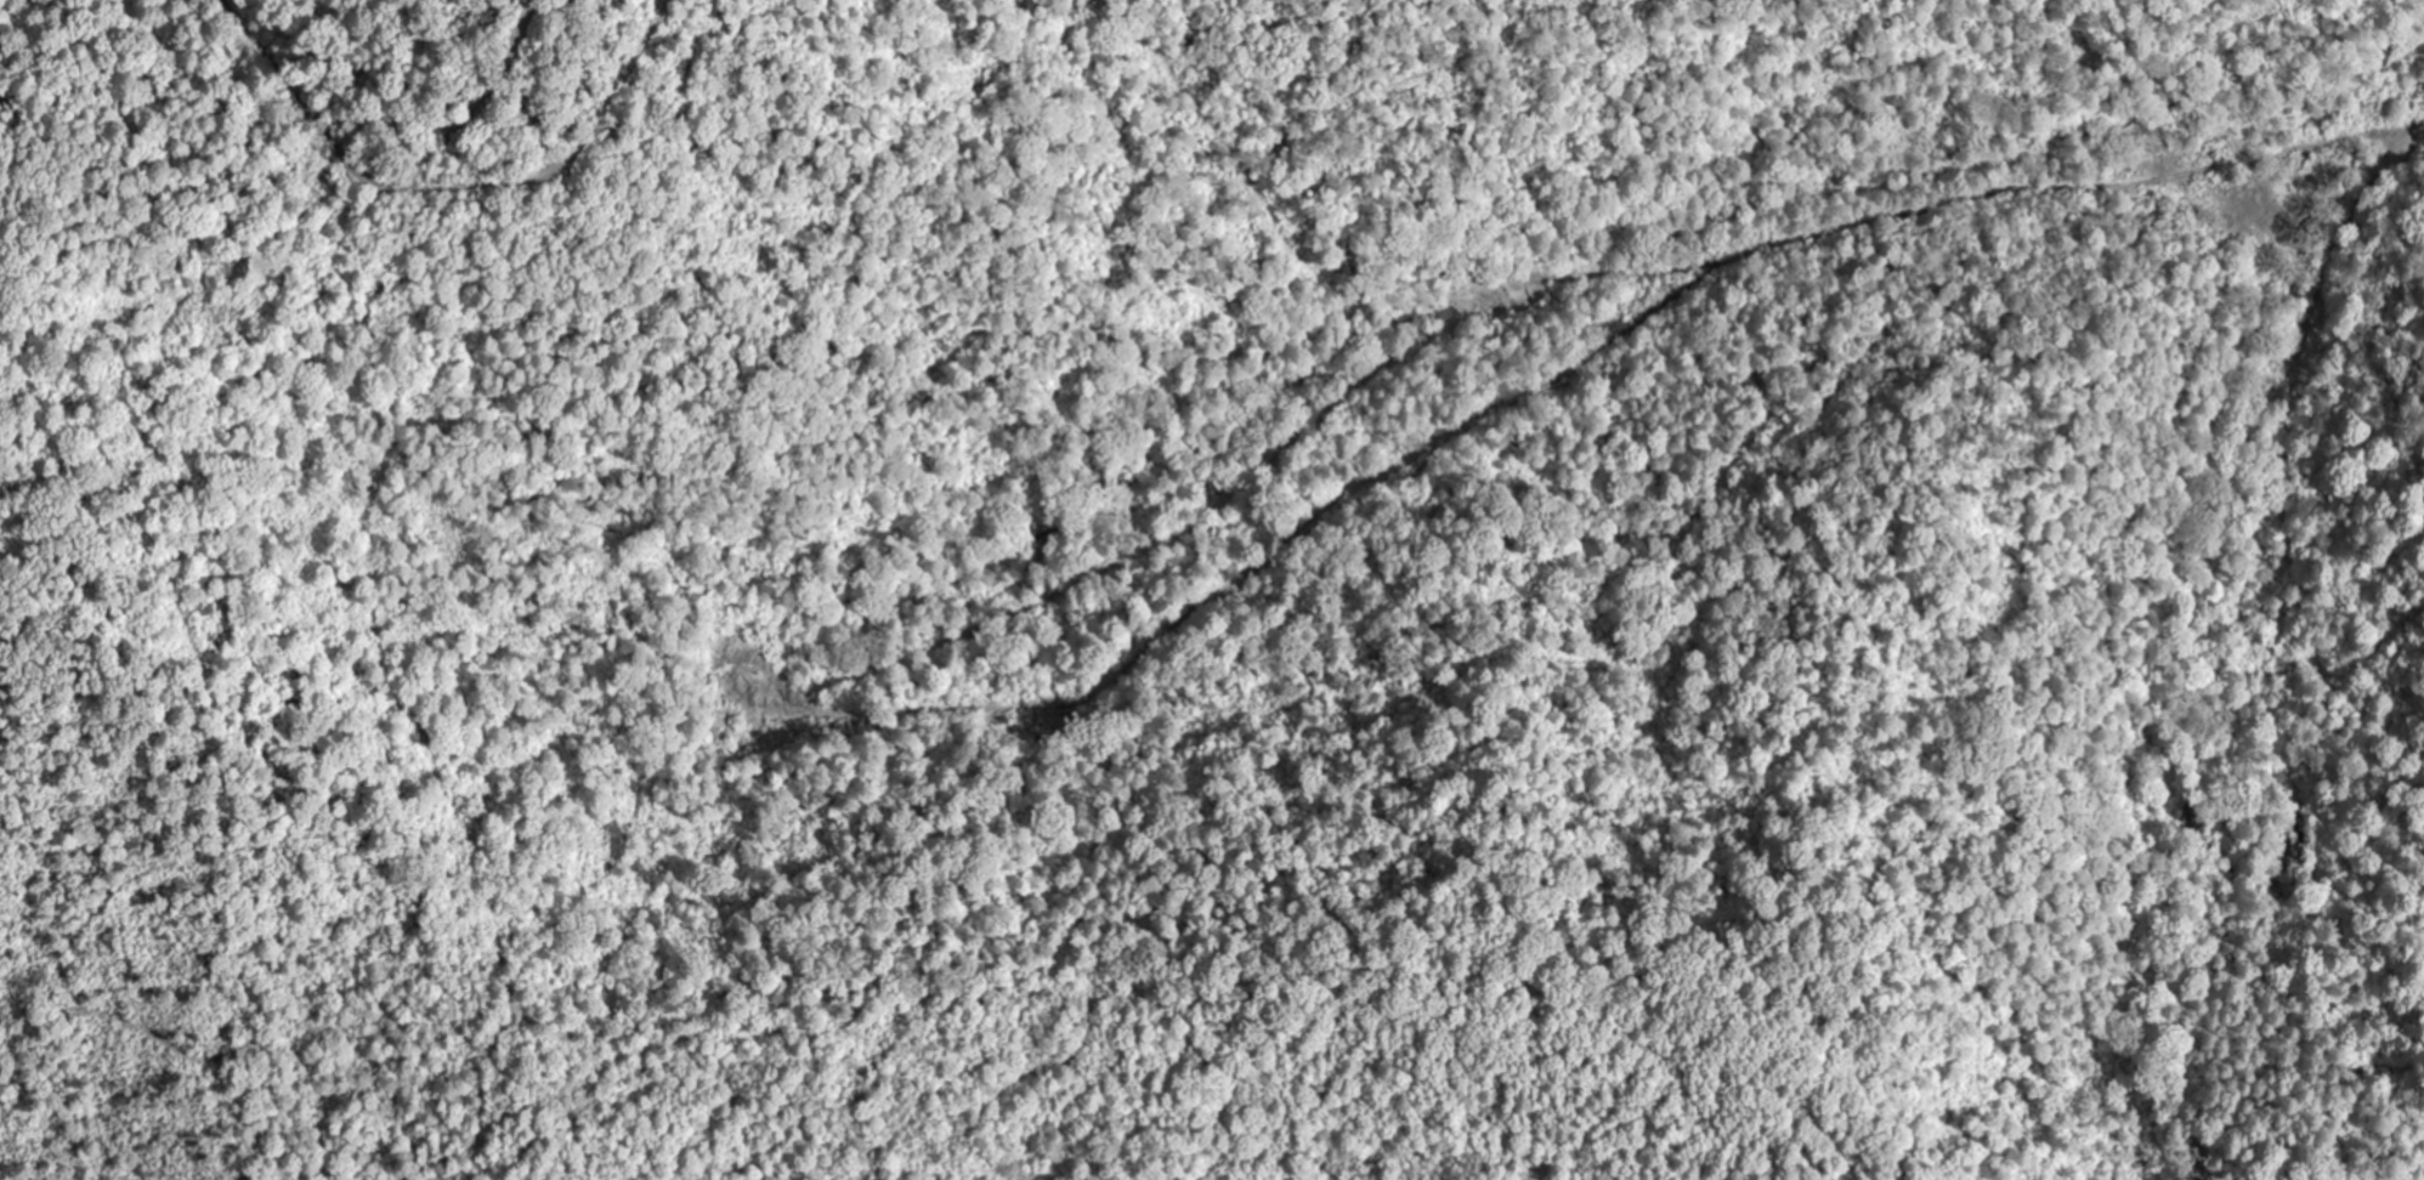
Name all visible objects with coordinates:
road: (2368, 170)

